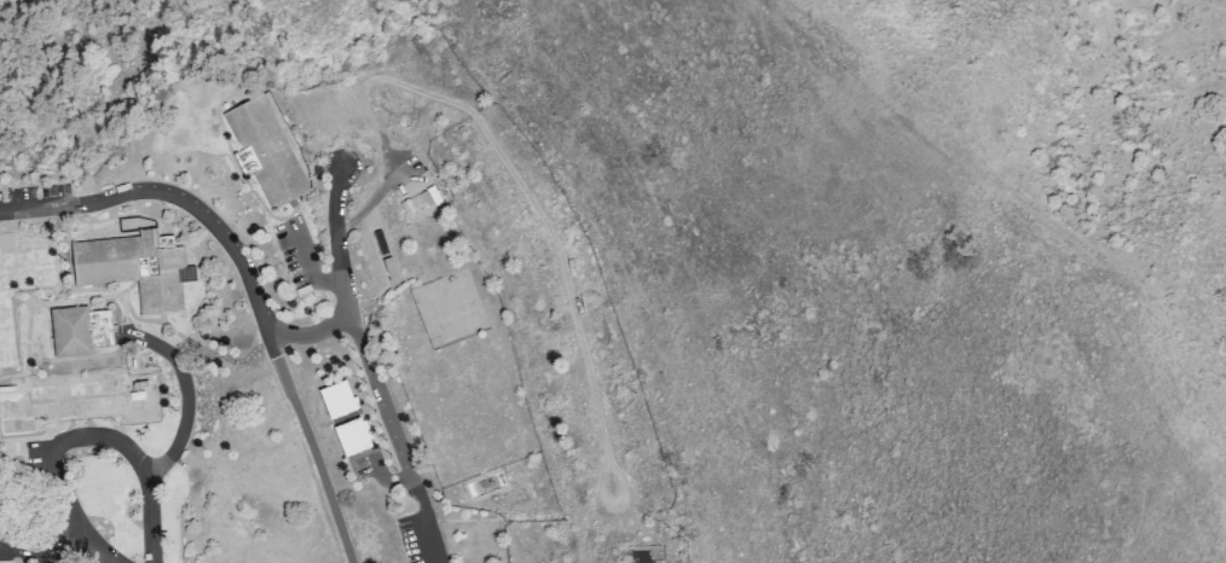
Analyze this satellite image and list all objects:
building: (266, 150)
building: (245, 161)
road: (93, 202)
building: (137, 268)
building: (80, 330)
road: (313, 336)
road: (369, 367)
road: (282, 373)
road: (187, 399)
road: (22, 449)
road: (138, 459)
road: (68, 513)
road: (44, 556)

